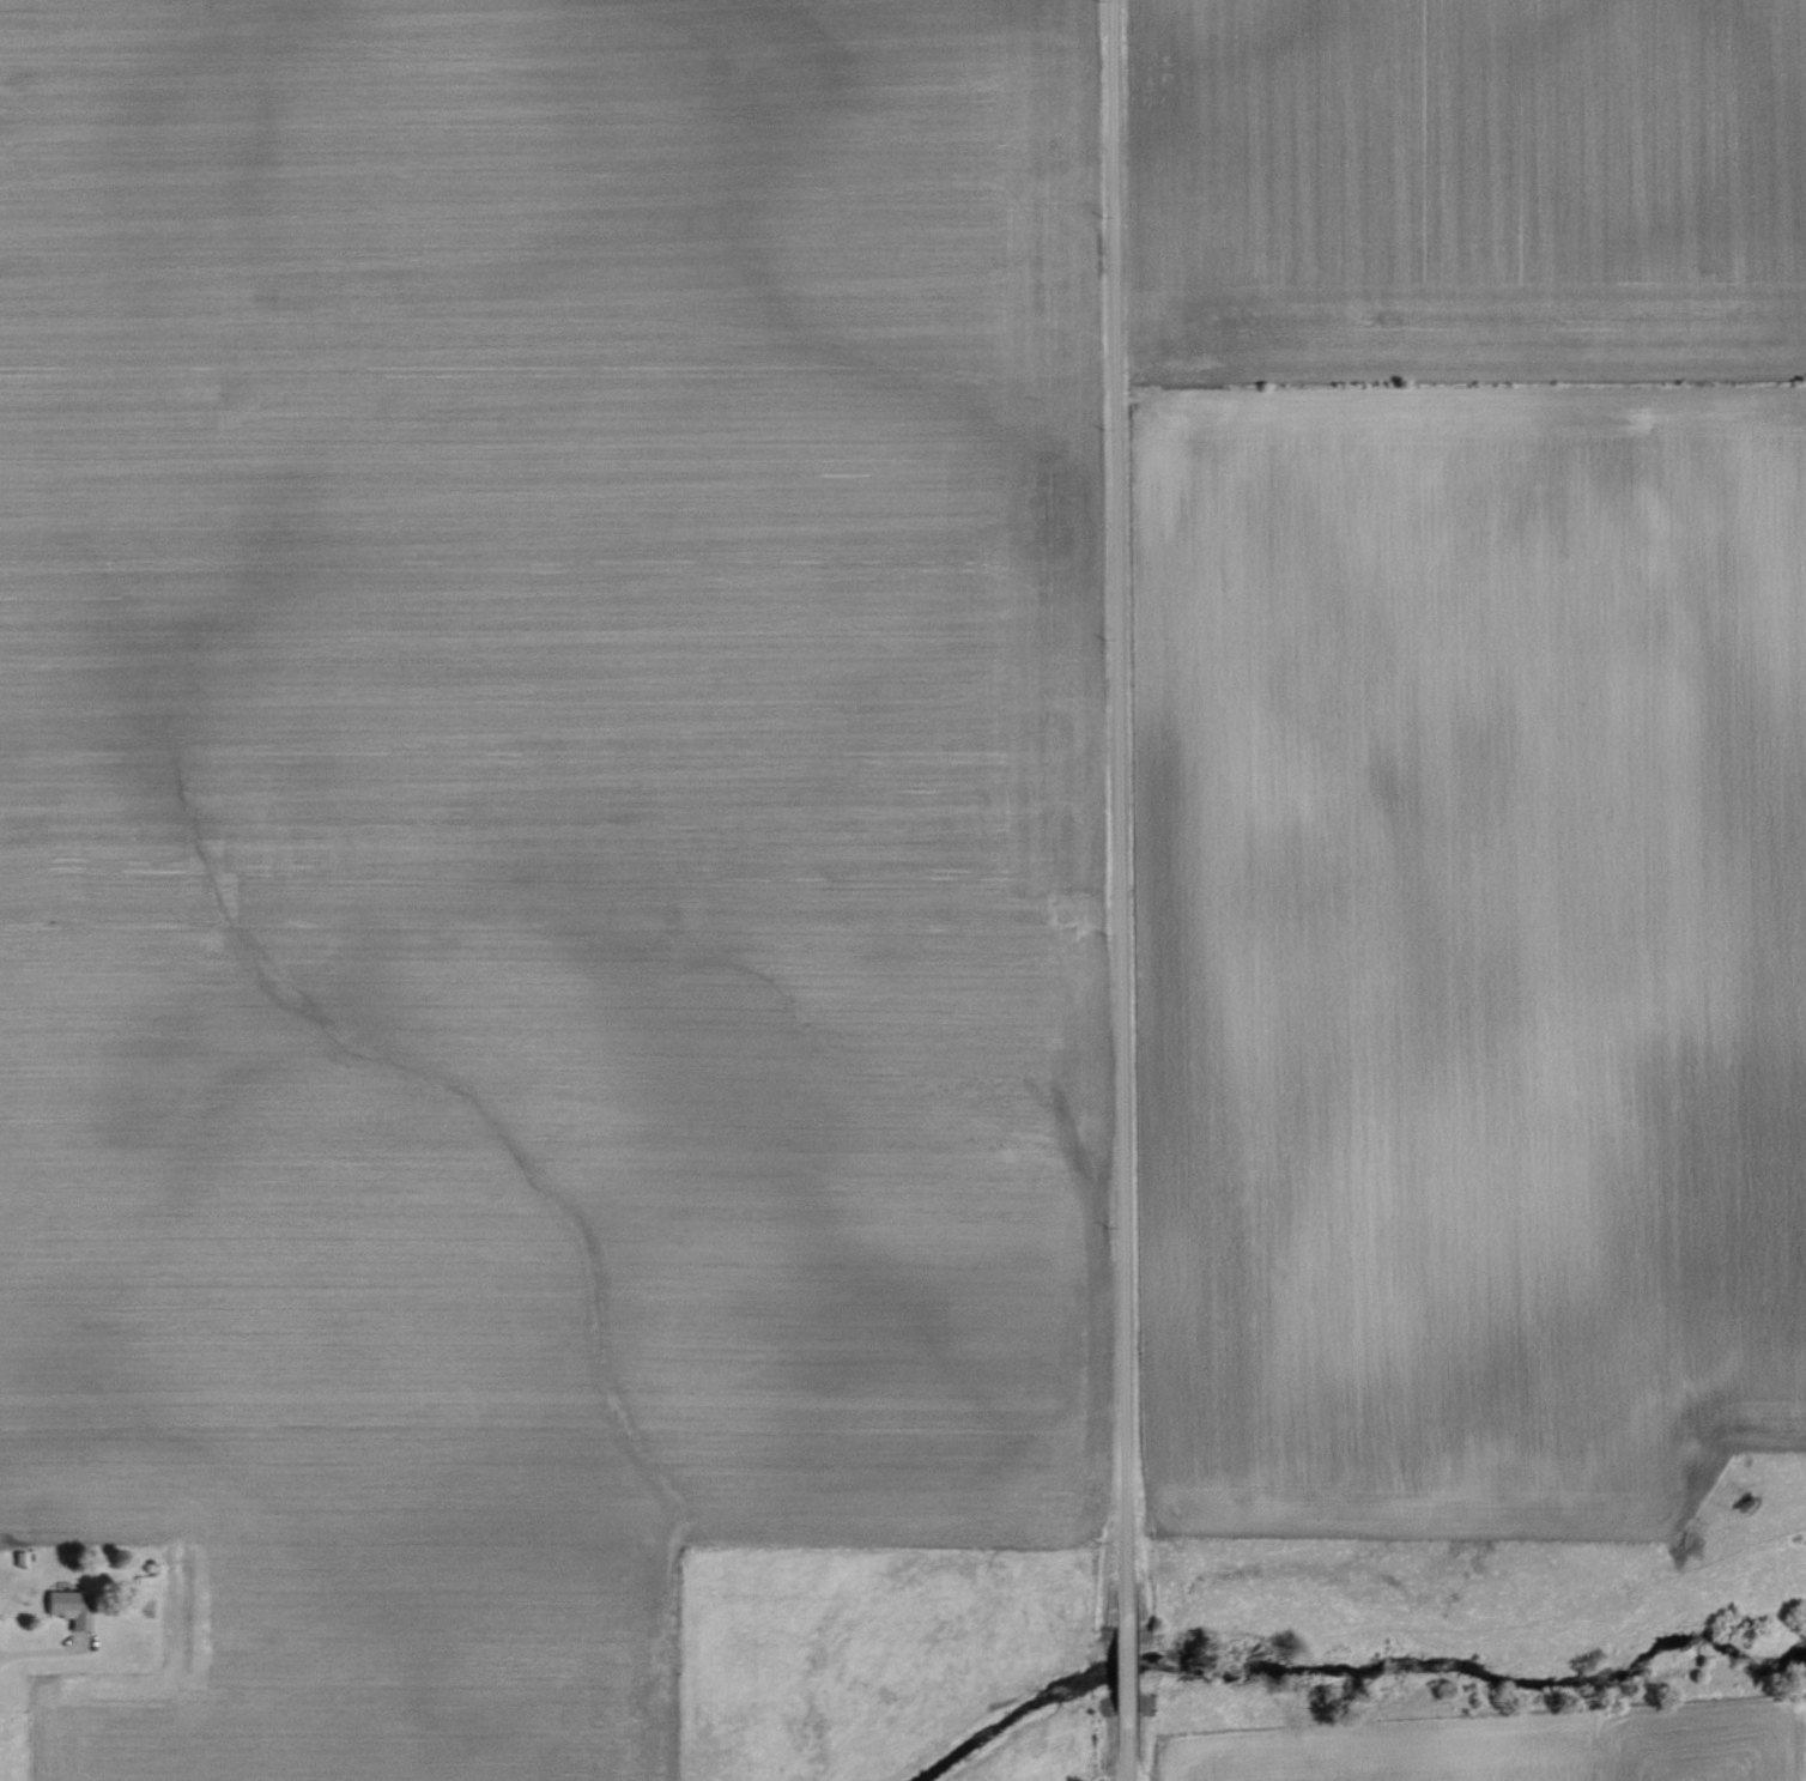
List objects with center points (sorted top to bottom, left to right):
road: (1117, 805)
building: (69, 1605)
road: (43, 1654)
road: (1122, 1660)
road: (1122, 1745)

